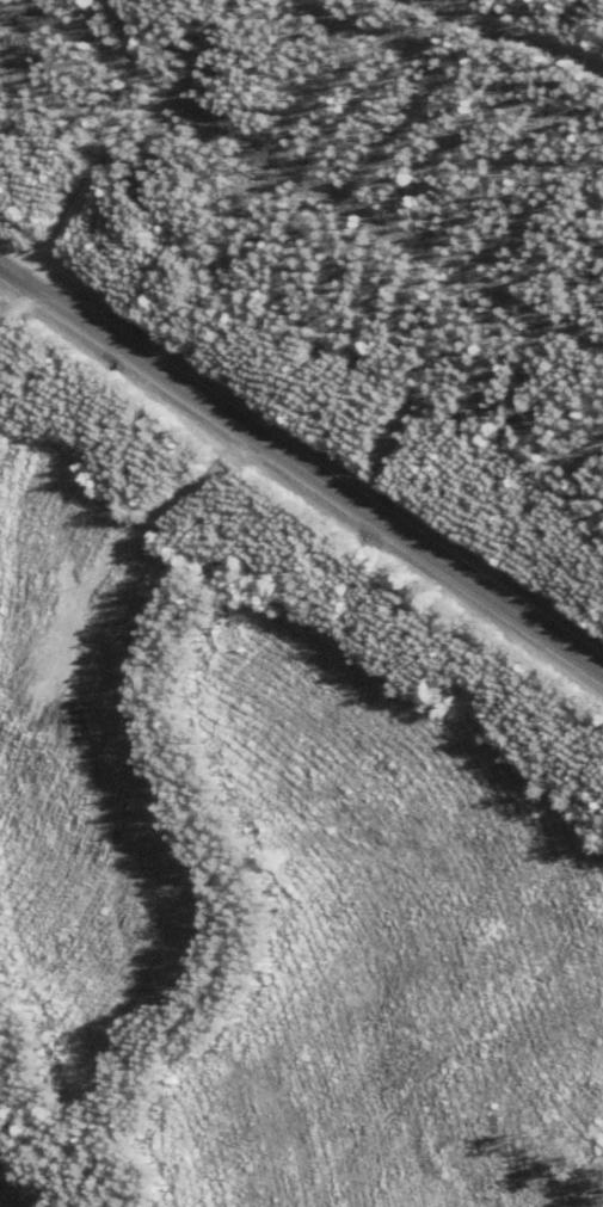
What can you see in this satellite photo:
road: (301, 468)

